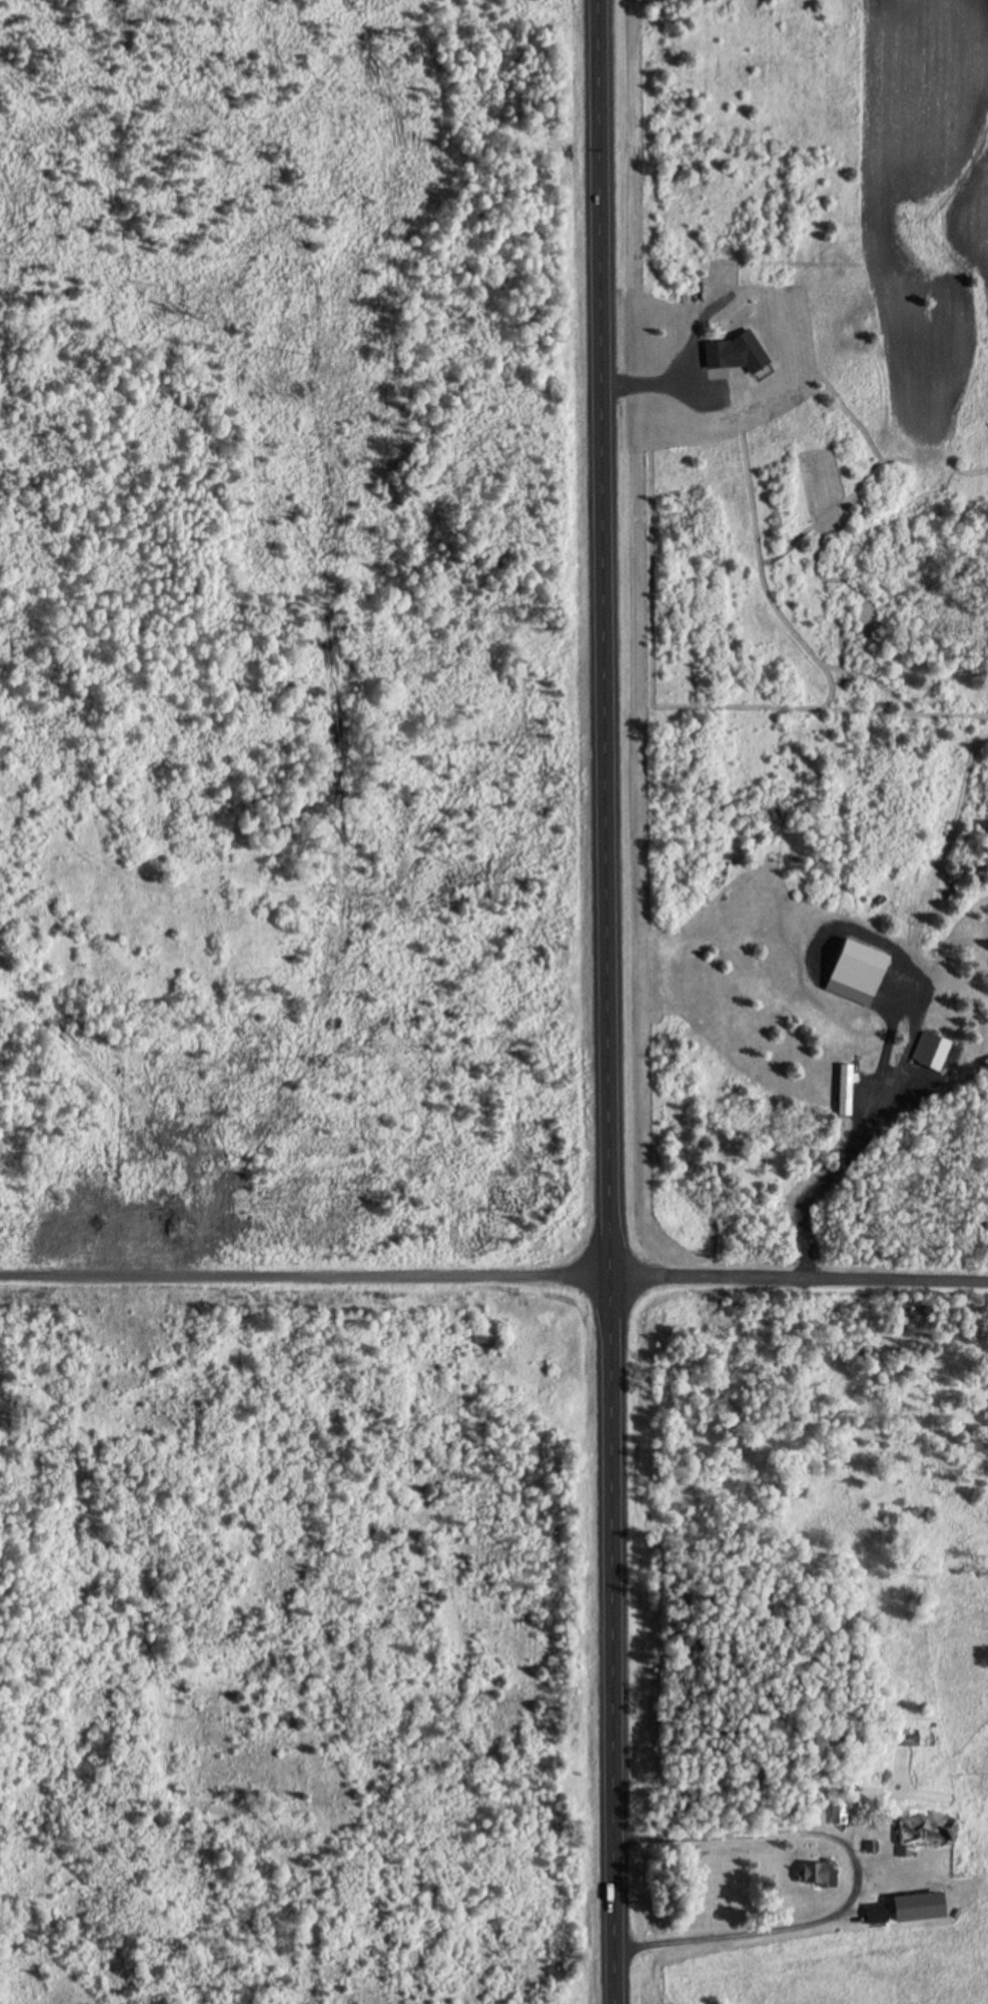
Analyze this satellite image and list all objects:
building: (735, 353)
road: (608, 1001)
building: (846, 1091)
road: (305, 1277)
road: (799, 1280)
building: (910, 1739)
building: (838, 1815)
building: (925, 1835)
building: (817, 1875)
building: (921, 1908)
building: (878, 1914)

